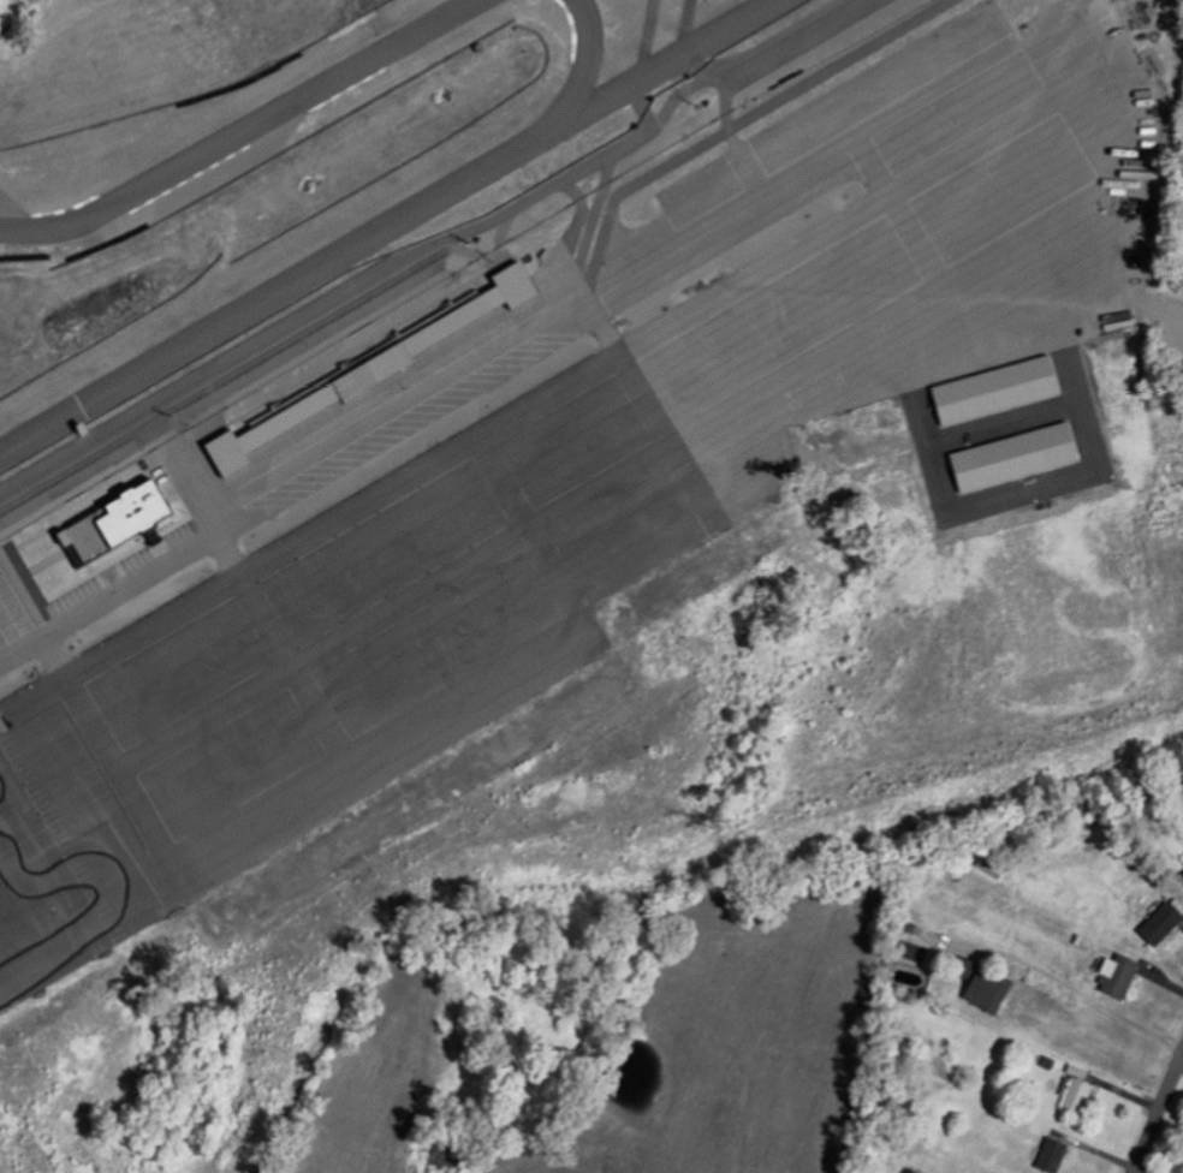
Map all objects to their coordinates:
raceway: (578, 59)
raceway: (243, 133)
road: (791, 166)
raceway: (385, 226)
raceway: (426, 261)
road: (452, 358)
building: (356, 374)
building: (991, 391)
building: (845, 431)
building: (1010, 458)
building: (864, 499)
building: (114, 523)
road: (167, 564)
parking lot: (364, 599)
parking lot: (16, 605)
building: (1, 725)
building: (1182, 875)
raceway: (107, 898)
building: (1158, 923)
building: (1113, 975)
building: (983, 989)
road: (1074, 989)
building: (1071, 1094)
road: (1158, 1113)
building: (1048, 1154)
road: (1148, 1168)
building: (993, 1172)

